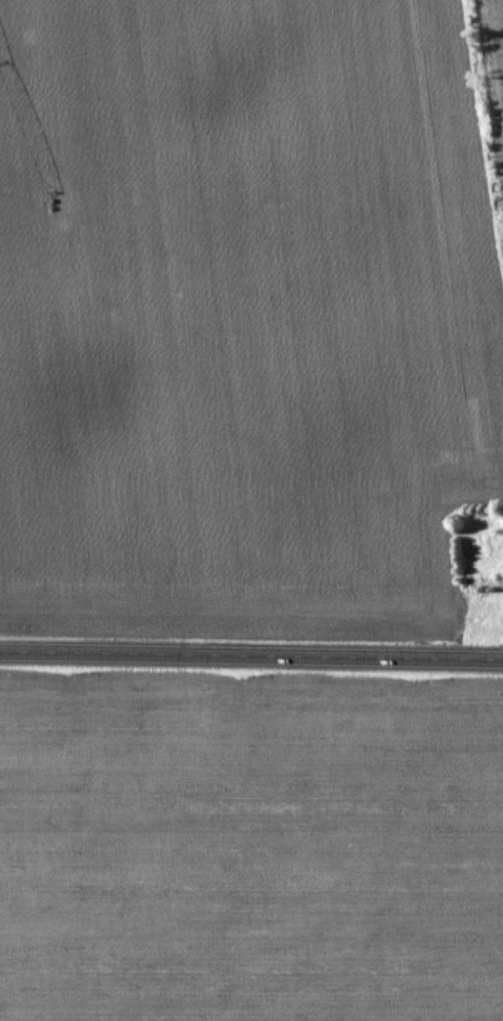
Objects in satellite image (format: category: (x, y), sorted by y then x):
road: (251, 656)

